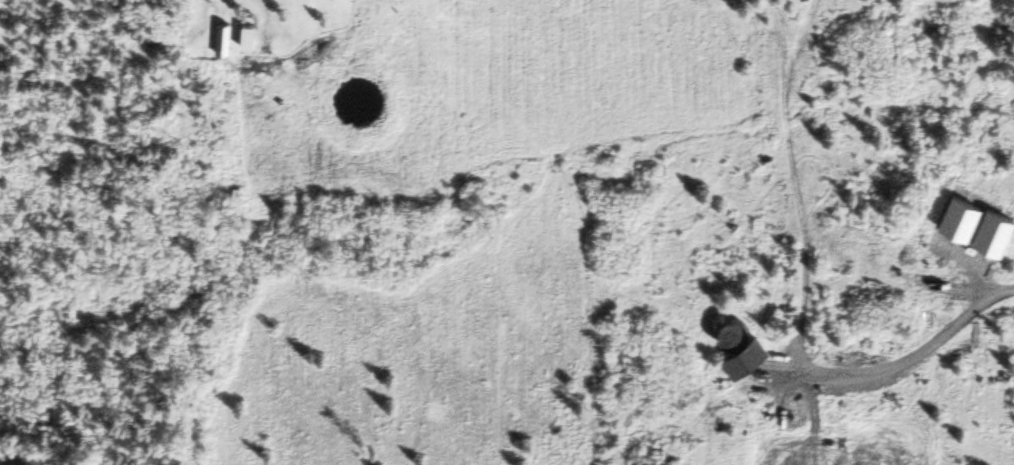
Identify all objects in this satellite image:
building: (248, 33)
building: (223, 35)
building: (738, 328)

